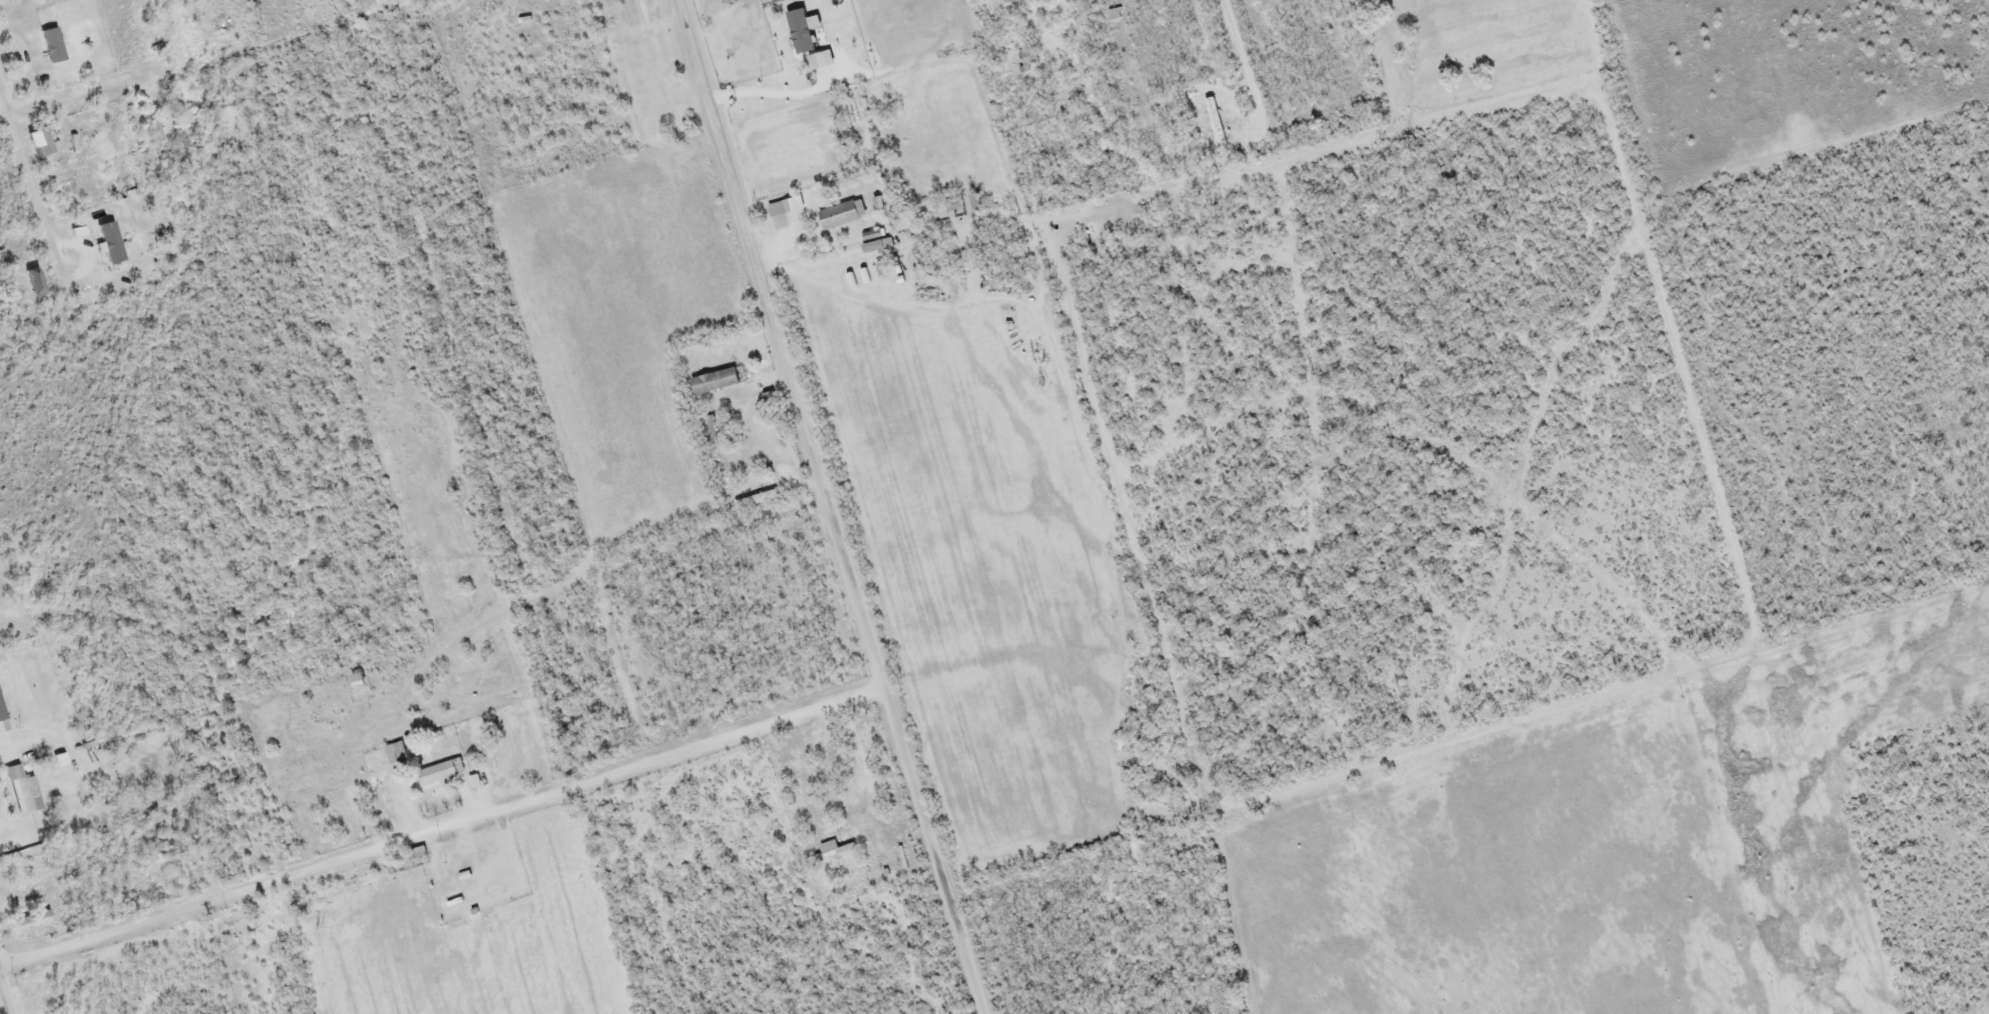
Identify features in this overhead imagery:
building: (525, 24)
building: (1025, 59)
road: (1246, 72)
road: (87, 95)
road: (4, 113)
road: (29, 175)
building: (774, 211)
building: (838, 217)
building: (869, 249)
building: (711, 383)
building: (751, 491)
road: (827, 507)
road: (34, 668)
building: (360, 681)
building: (443, 774)
building: (24, 790)
road: (440, 830)
road: (4, 999)

